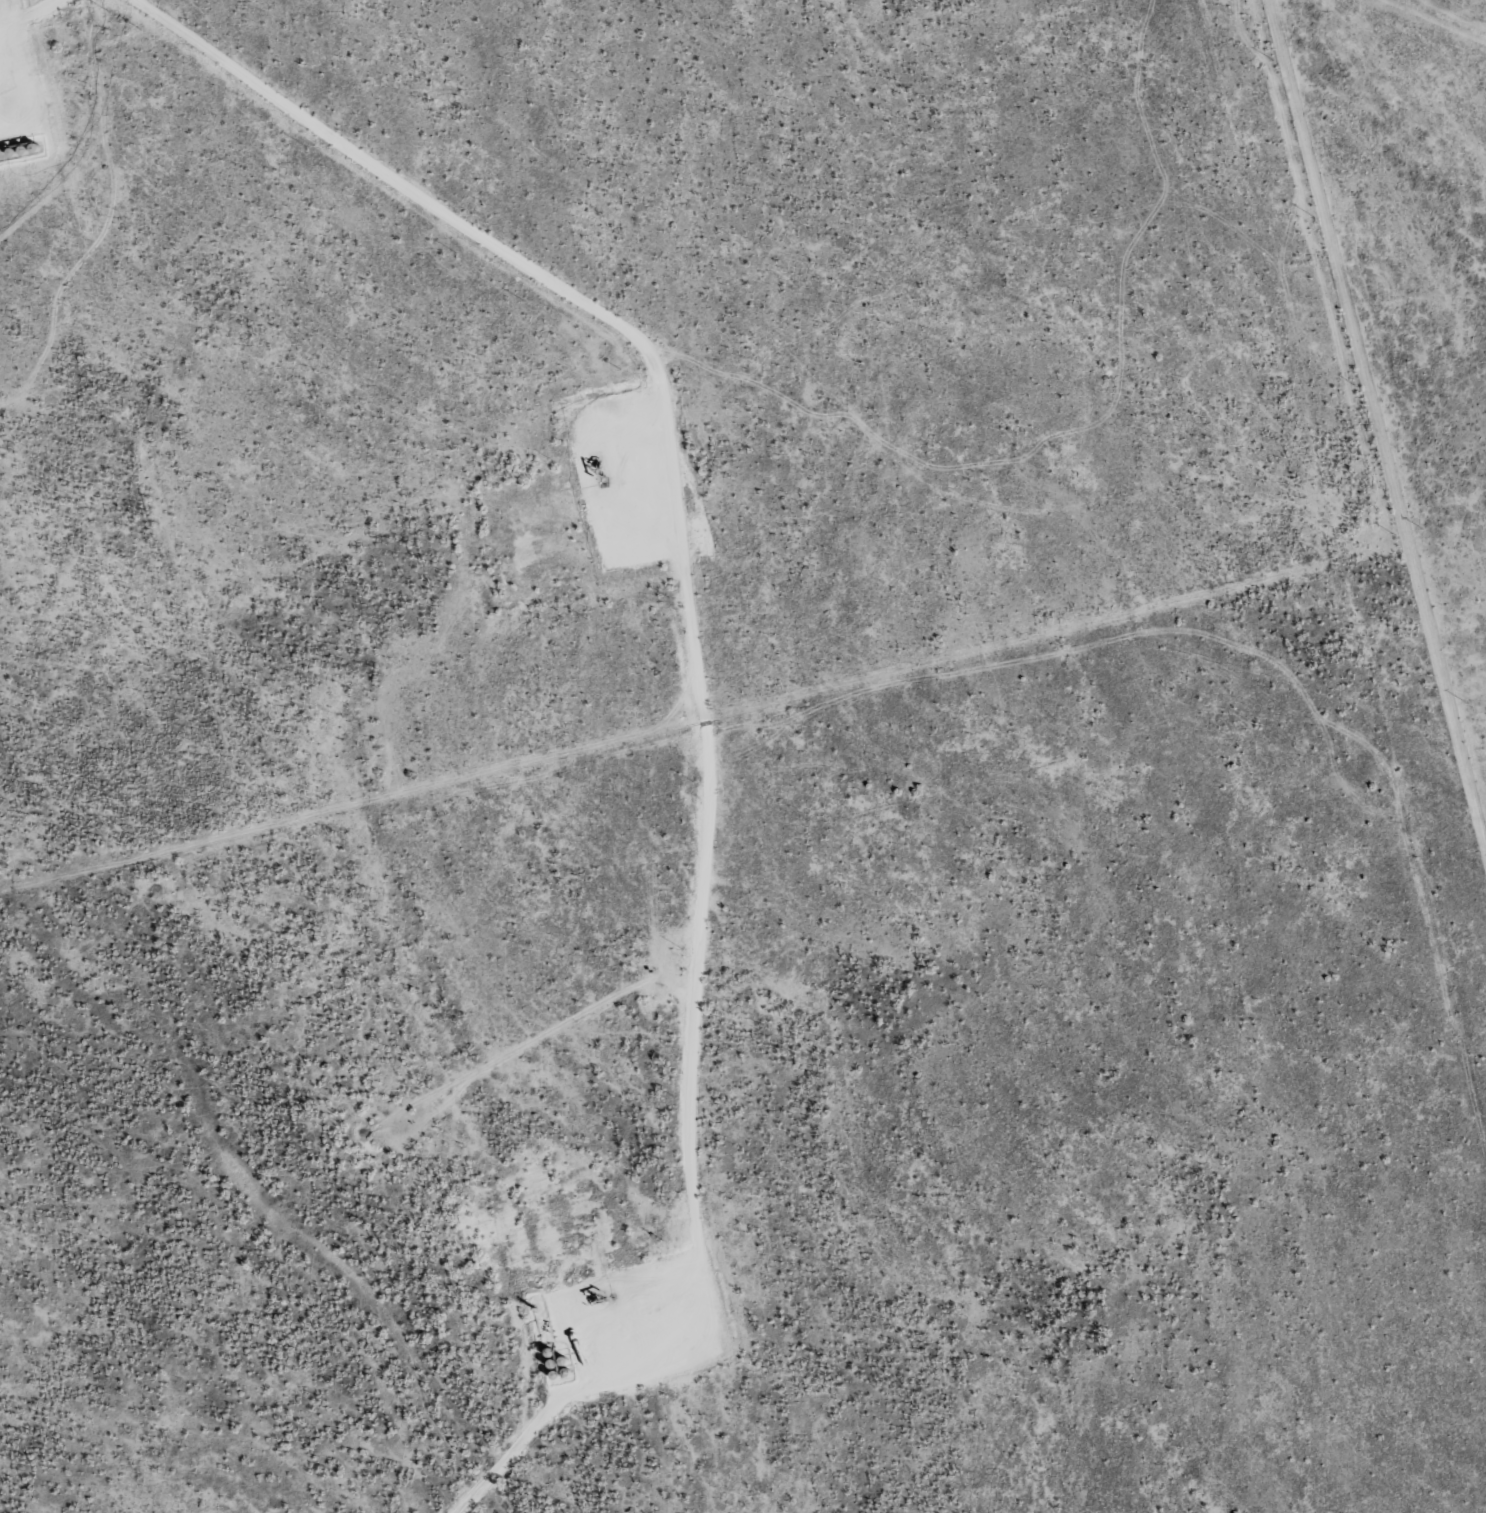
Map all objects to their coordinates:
road: (1449, 68)

